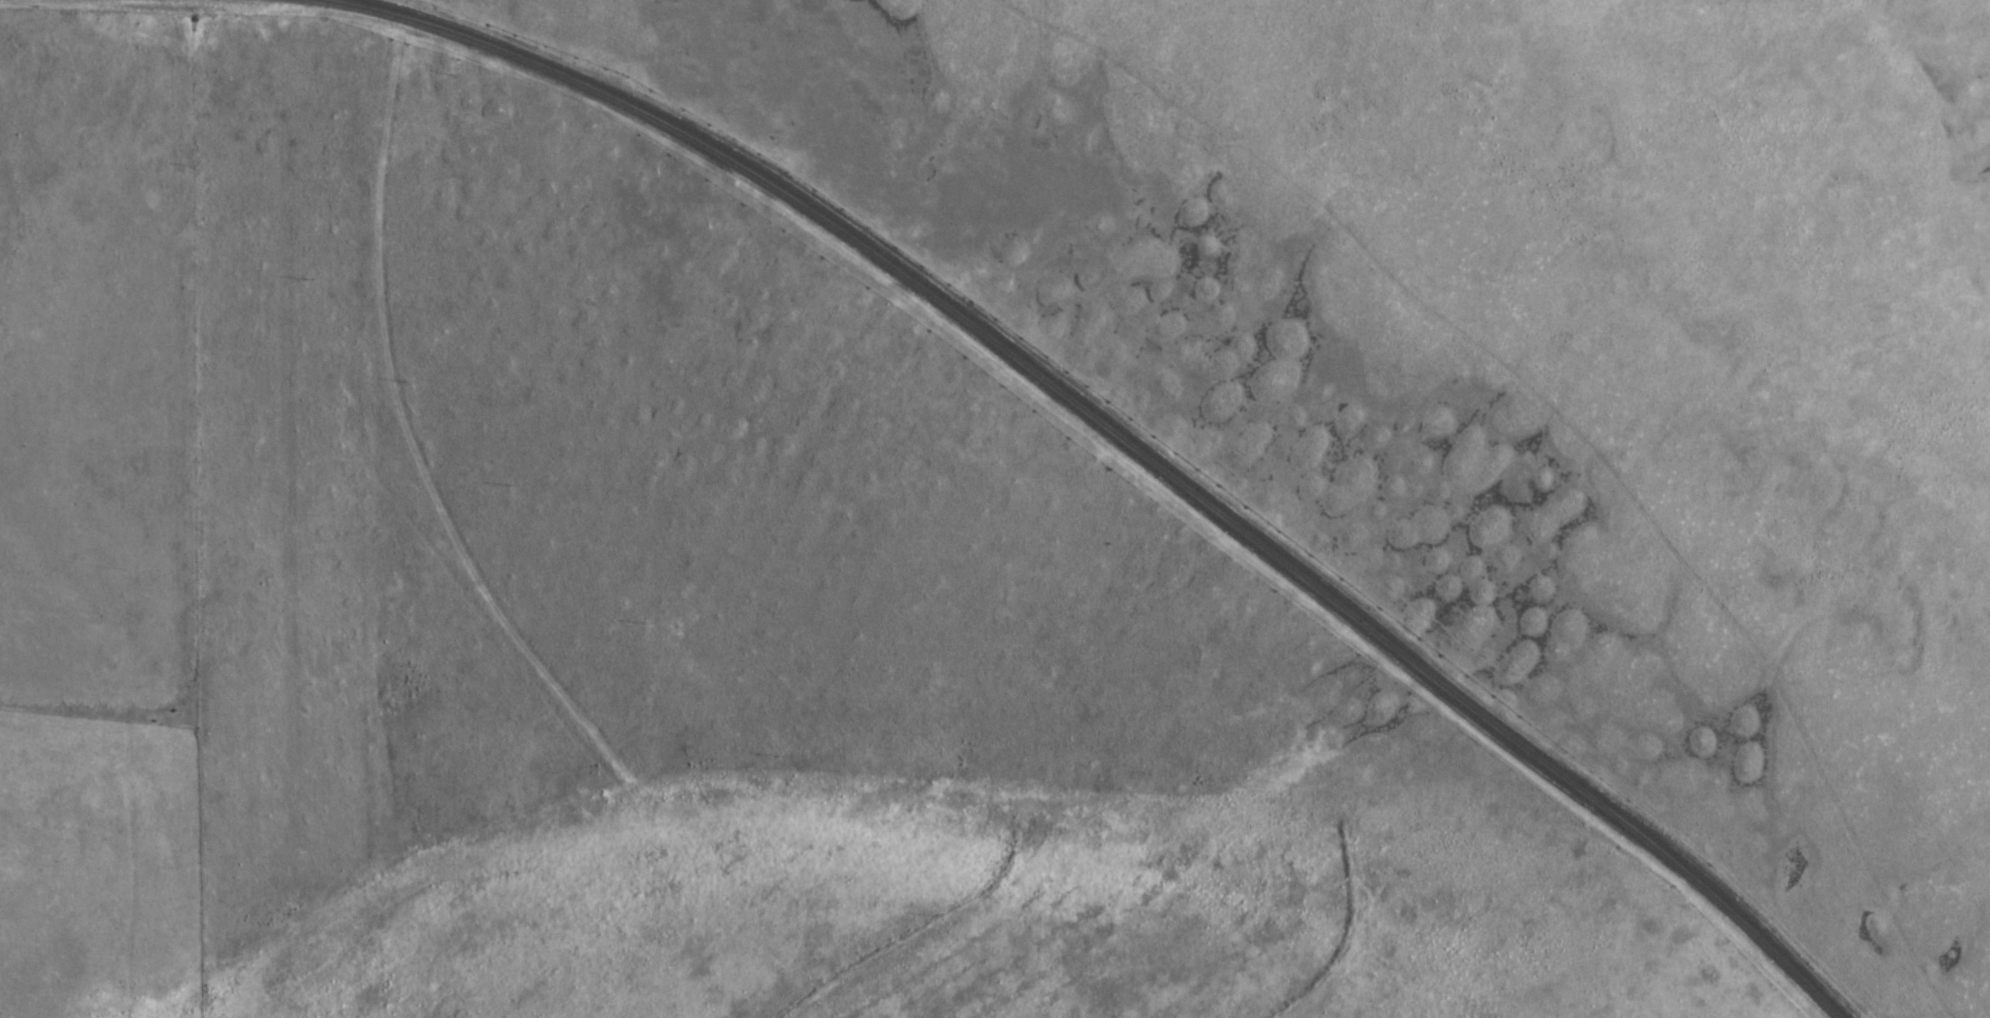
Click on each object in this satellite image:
road: (1052, 390)

